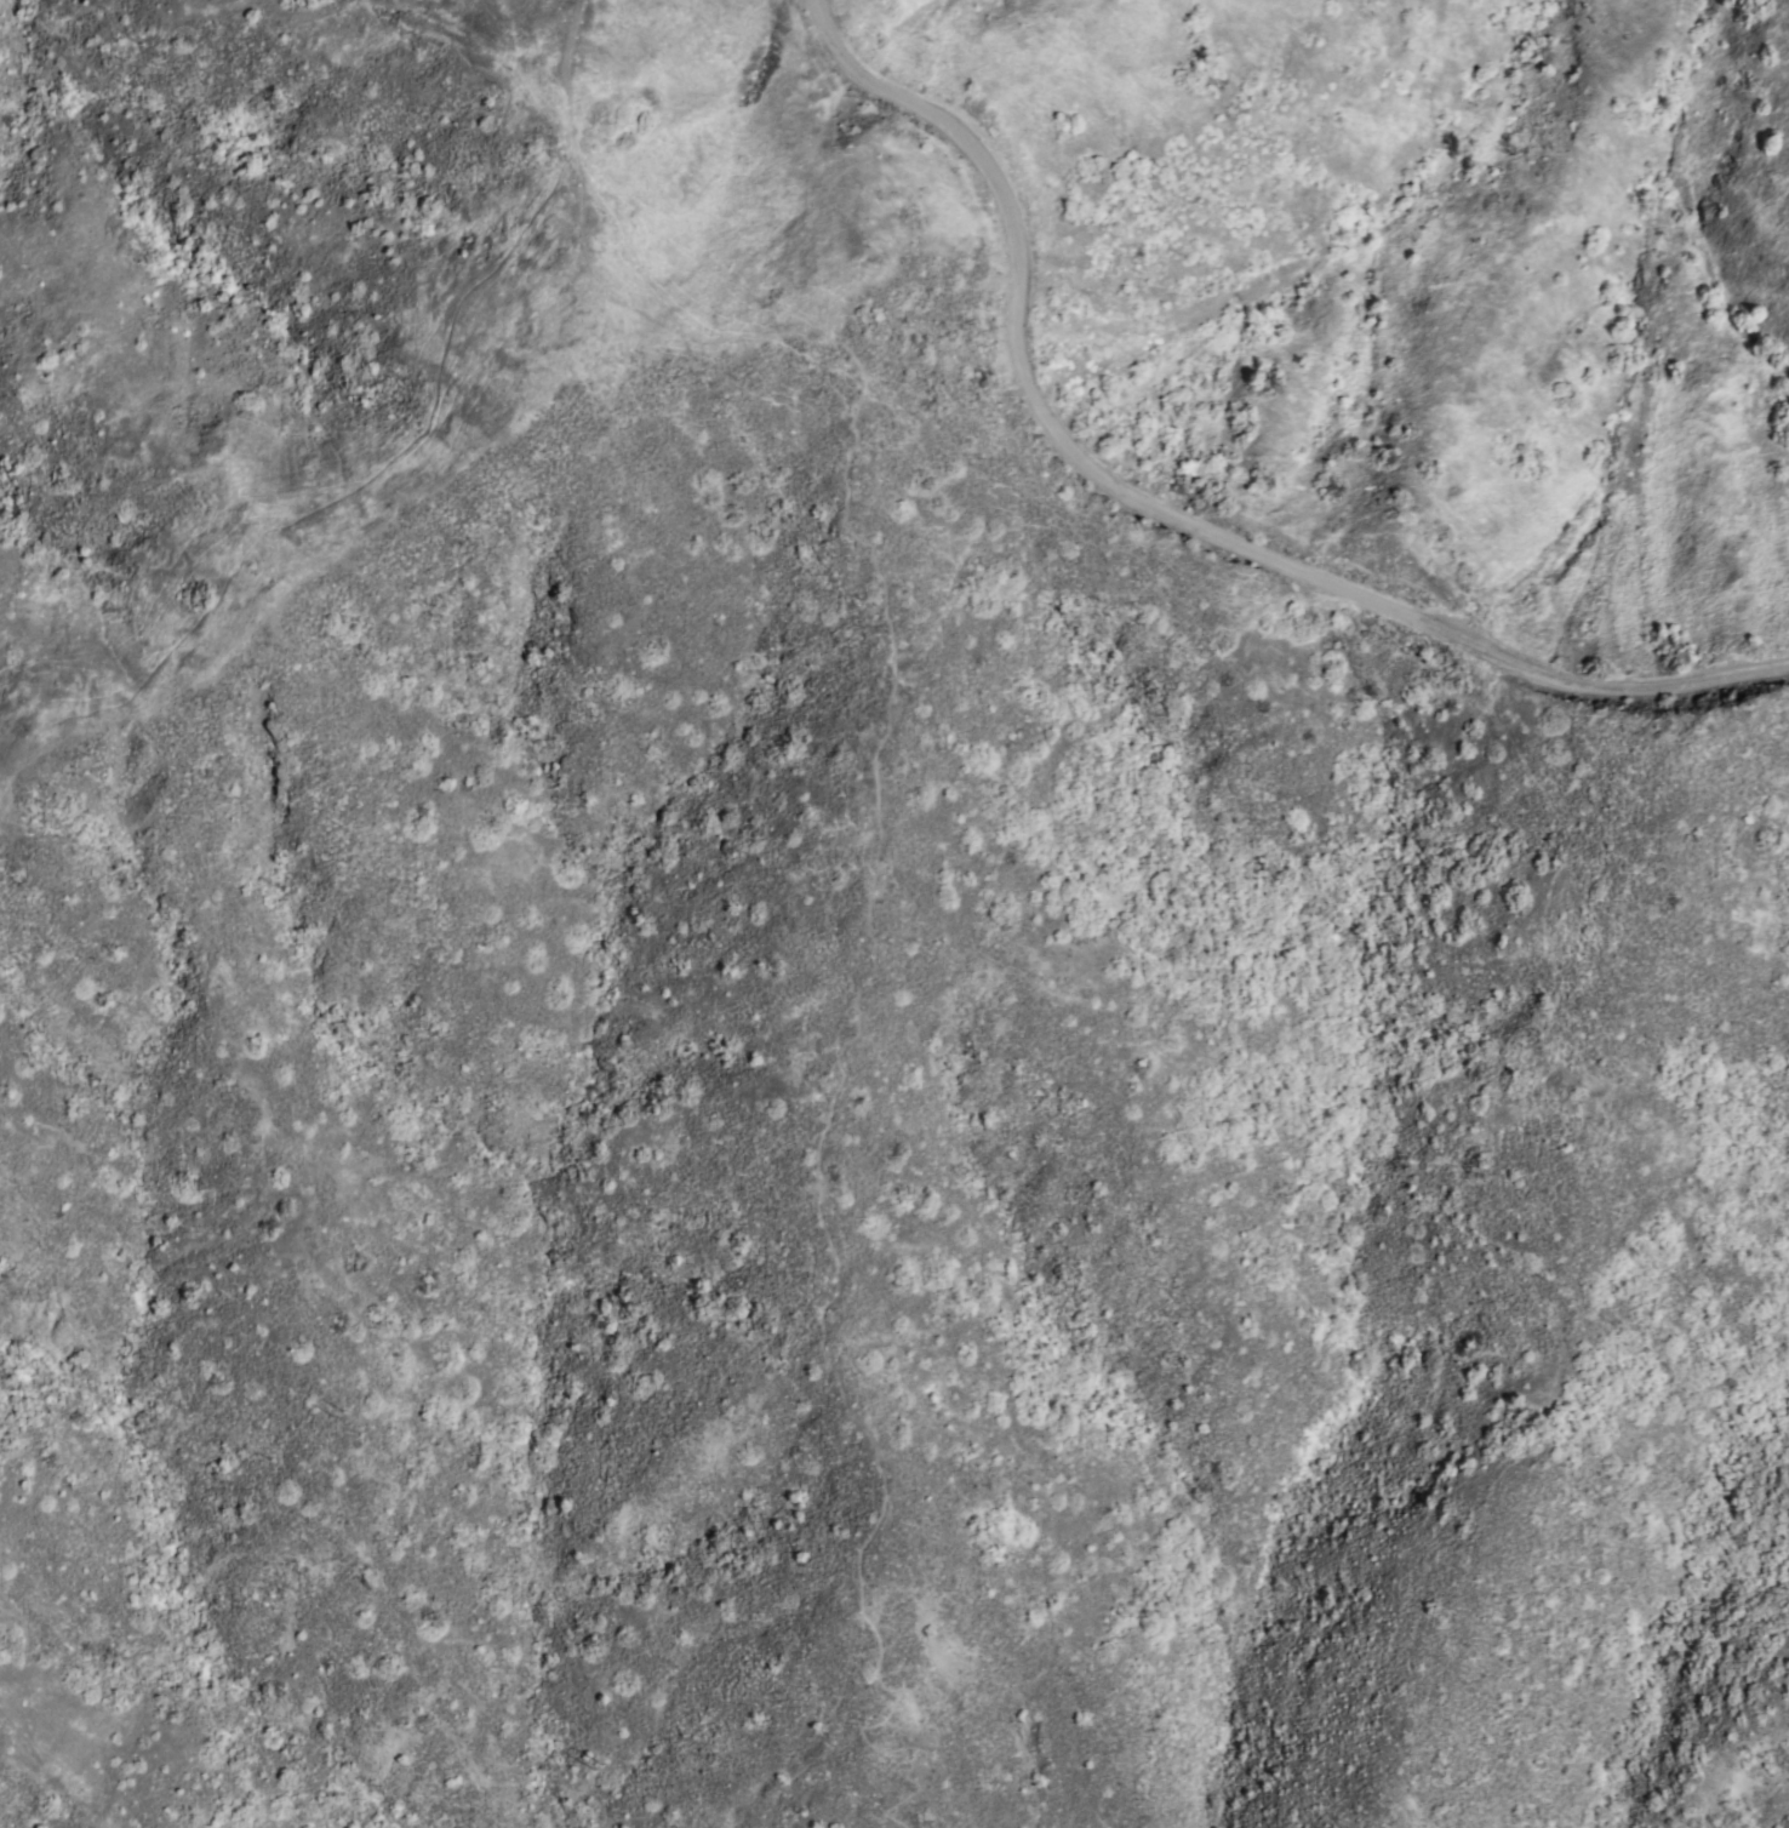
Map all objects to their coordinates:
road: (1161, 510)
road: (873, 828)

